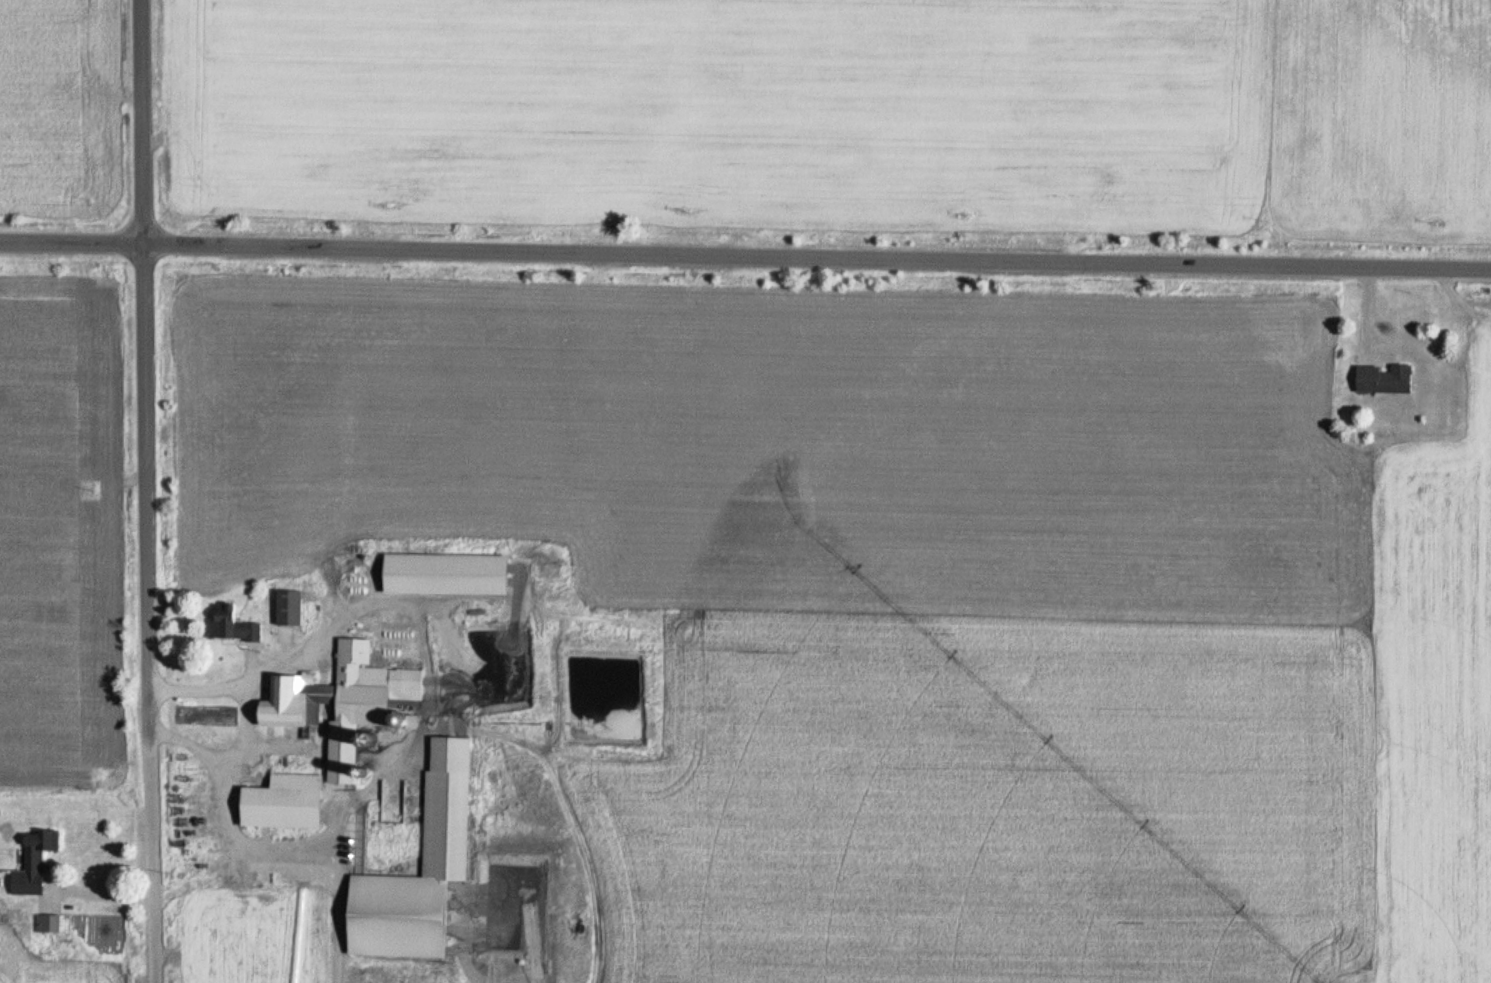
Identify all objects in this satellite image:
road: (745, 257)
road: (144, 366)
building: (1383, 380)
building: (442, 574)
building: (287, 607)
building: (230, 623)
building: (343, 699)
building: (281, 803)
building: (449, 805)
road: (150, 857)
building: (32, 861)
building: (191, 933)
building: (8, 940)

